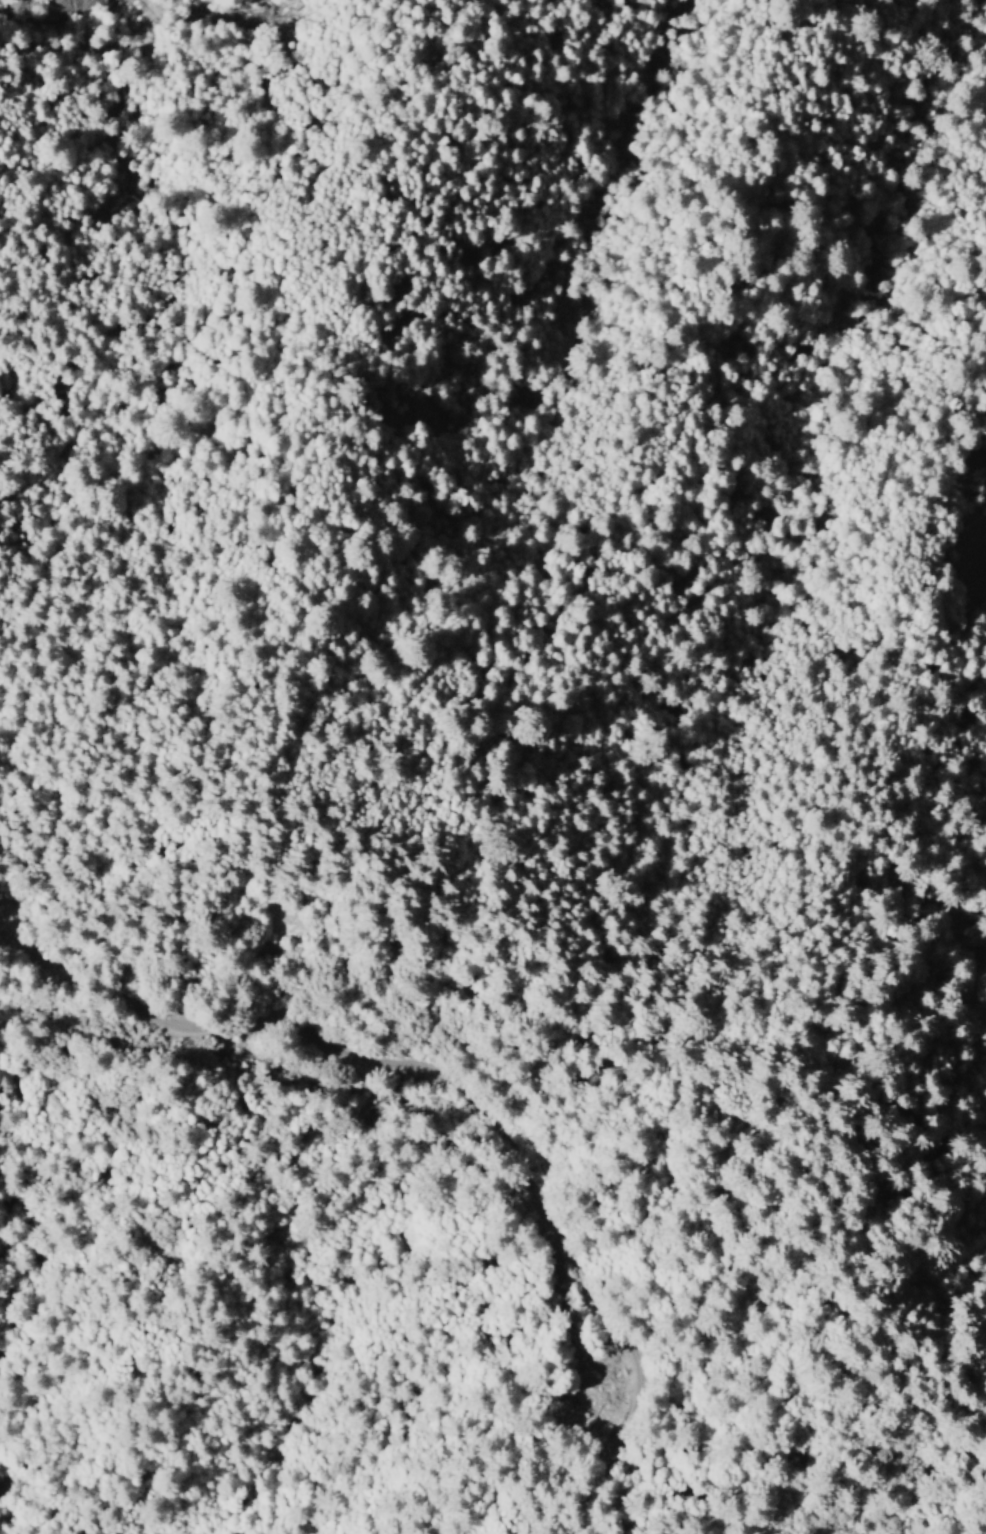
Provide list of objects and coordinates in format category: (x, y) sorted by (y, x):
road: (465, 1101)

